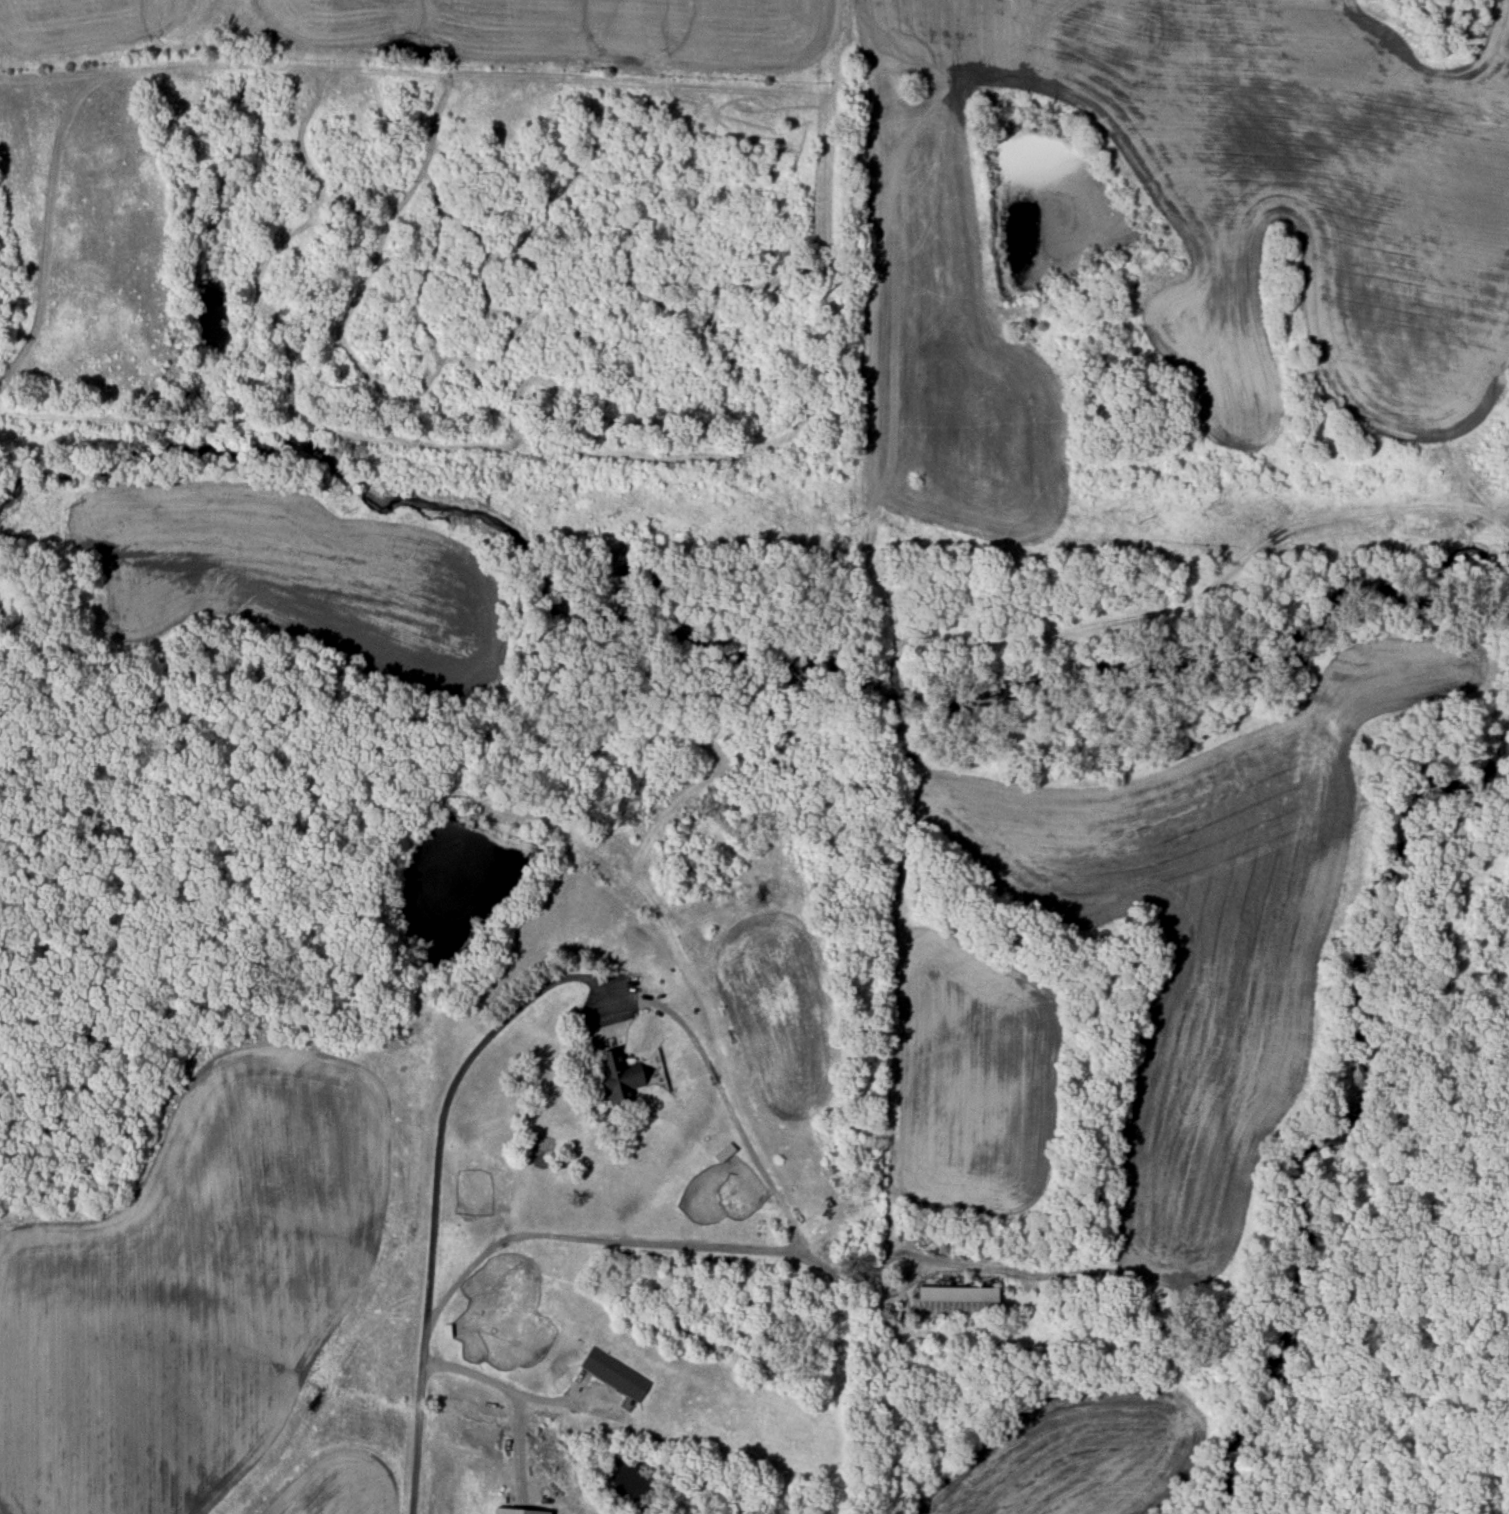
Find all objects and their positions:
road: (564, 980)
building: (621, 1078)
road: (898, 1120)
road: (941, 1270)
building: (960, 1302)
building: (613, 1376)
road: (518, 1393)

